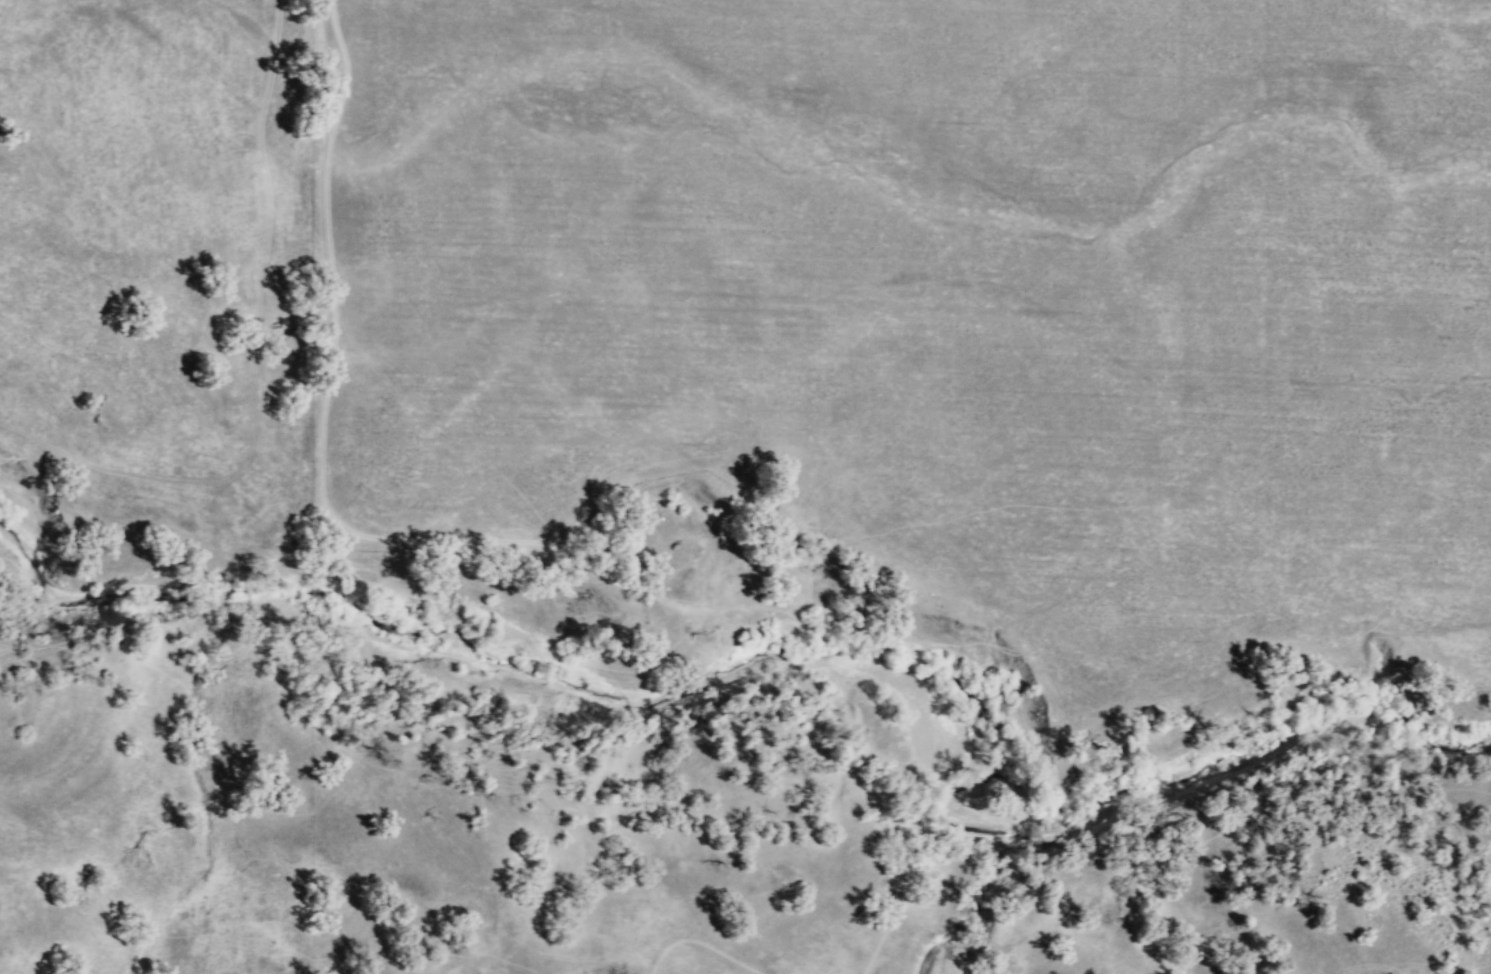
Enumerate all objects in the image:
river: (579, 687)
river: (1241, 764)

